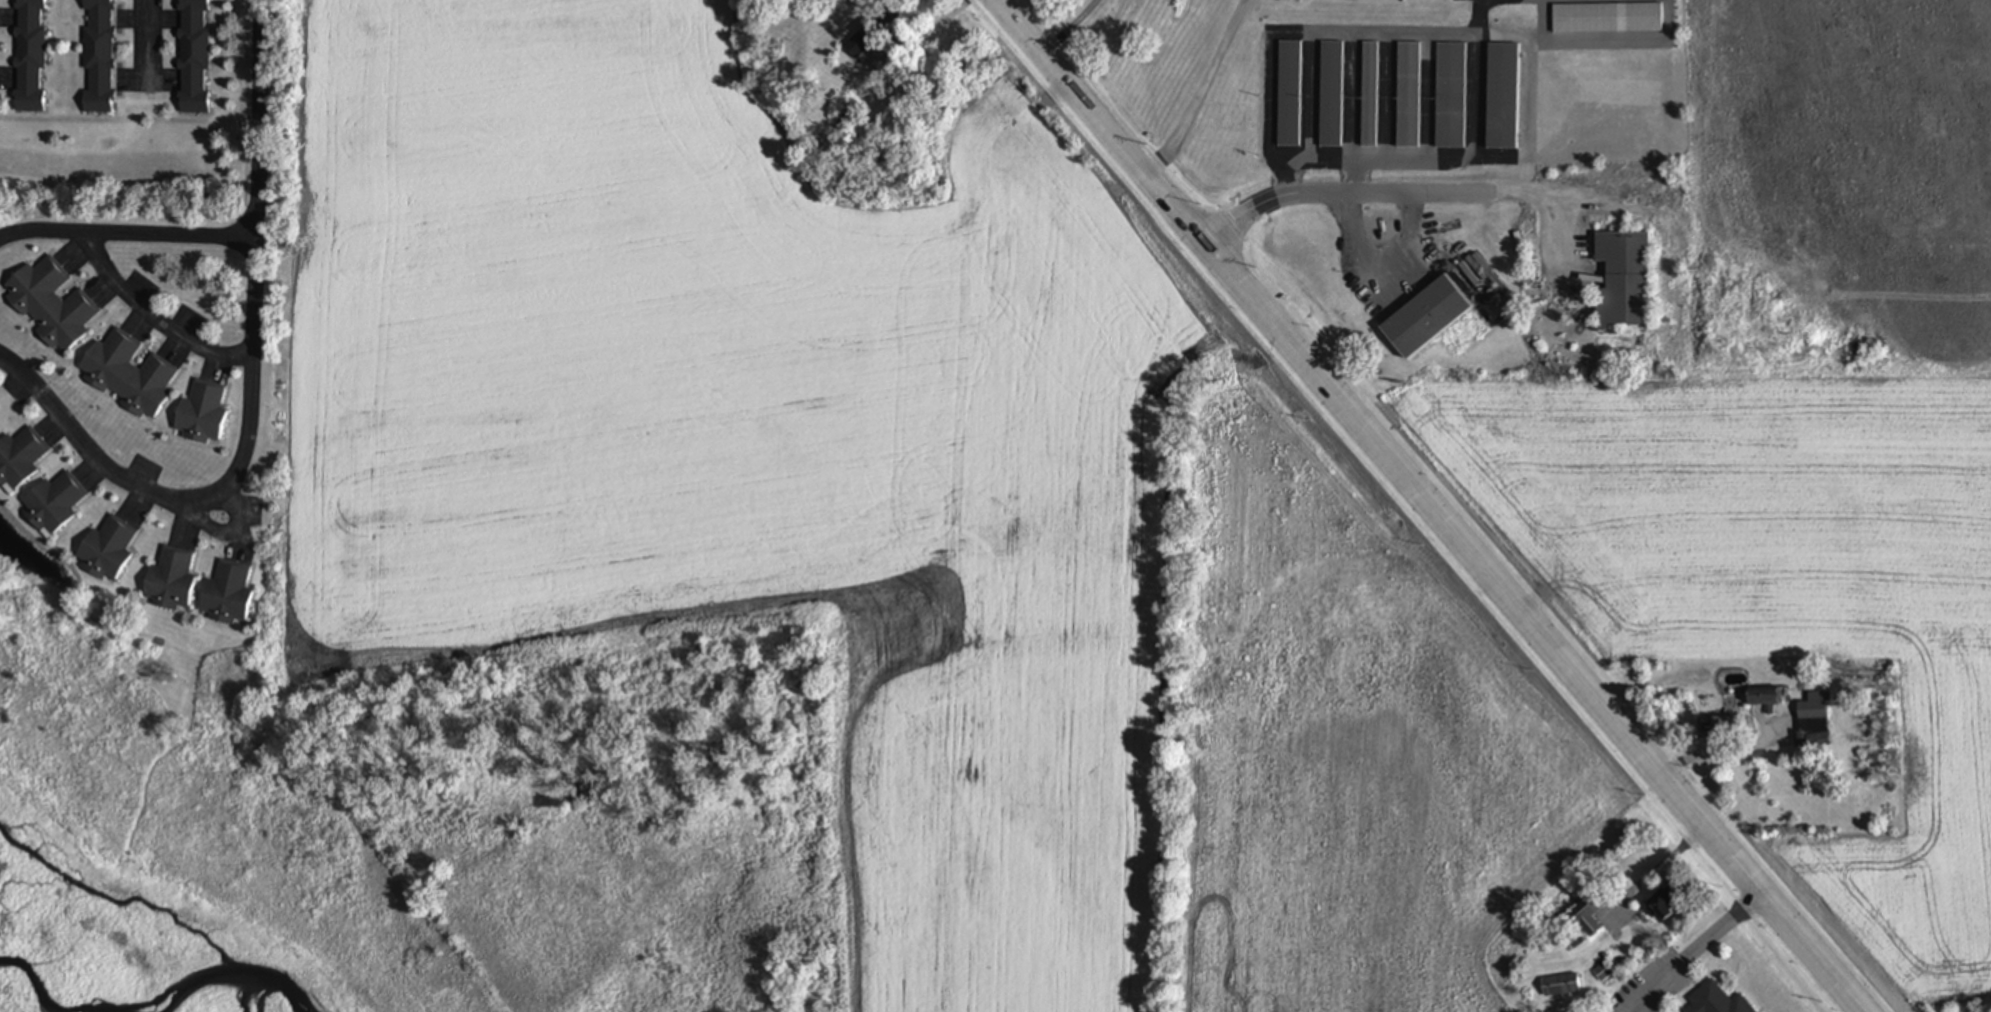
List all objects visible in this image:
building: (812, 1)
road: (1066, 29)
road: (919, 34)
road: (150, 42)
building: (860, 43)
building: (29, 56)
building: (98, 56)
building: (192, 56)
road: (1200, 92)
building: (1288, 94)
building: (1331, 95)
building: (1370, 96)
building: (1408, 96)
building: (1450, 96)
building: (1501, 96)
road: (1376, 196)
road: (128, 234)
building: (1624, 278)
building: (51, 305)
building: (1426, 318)
road: (154, 319)
building: (129, 374)
road: (256, 395)
building: (201, 414)
building: (19, 458)
building: (53, 503)
crop: (901, 503)
road: (1426, 506)
building: (106, 550)
building: (170, 580)
building: (226, 594)
crop: (1766, 597)
building: (1764, 698)
building: (1814, 721)
building: (1710, 728)
road: (1720, 760)
road: (1656, 871)
building: (1660, 908)
building: (1590, 920)
road: (1690, 951)
building: (1603, 972)
building: (1561, 986)
building: (1718, 999)

